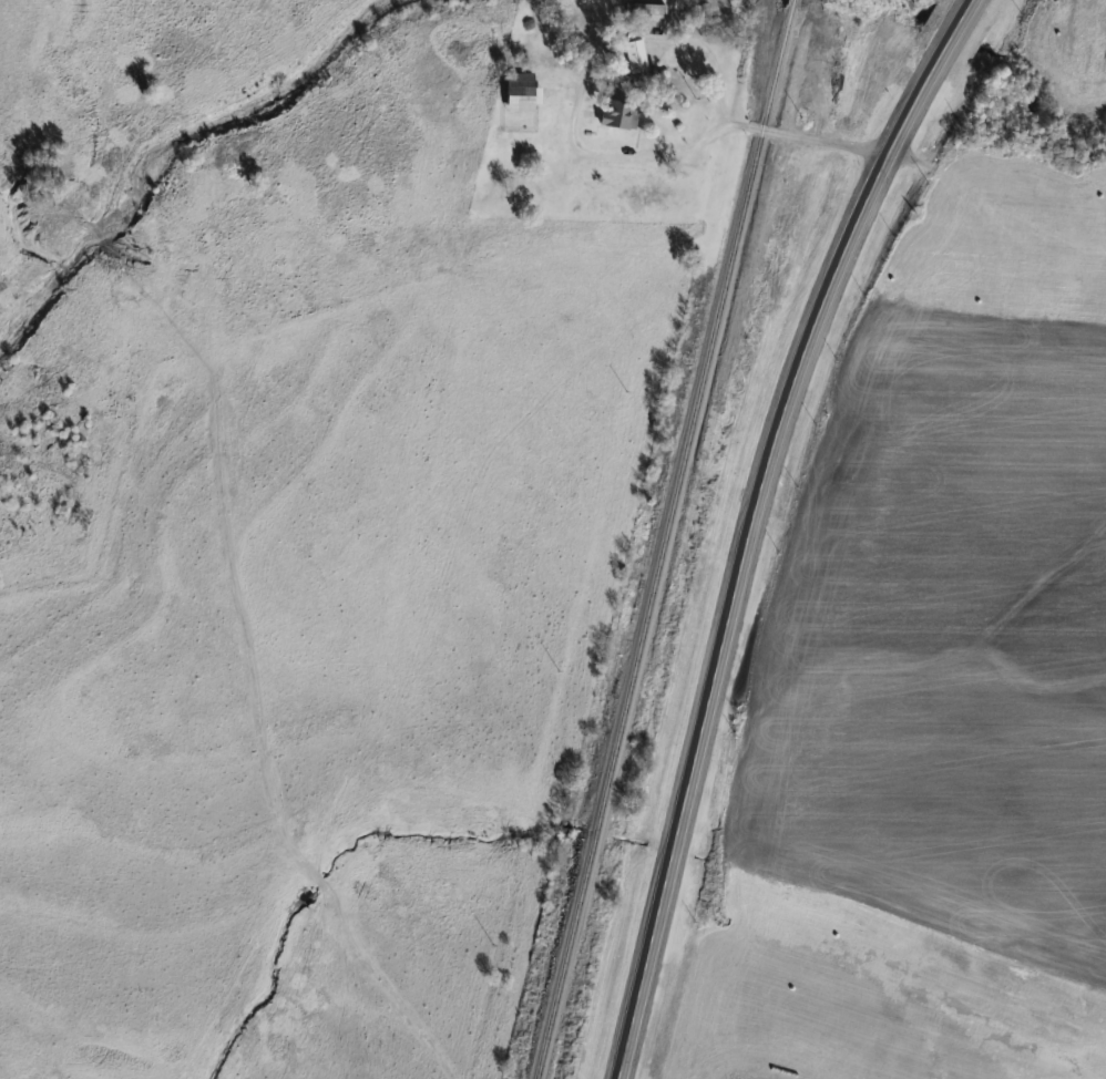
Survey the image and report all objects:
building: (646, 10)
building: (637, 55)
road: (586, 58)
building: (524, 91)
building: (622, 114)
road: (826, 141)
road: (752, 518)
railway: (667, 538)
road: (619, 1075)

